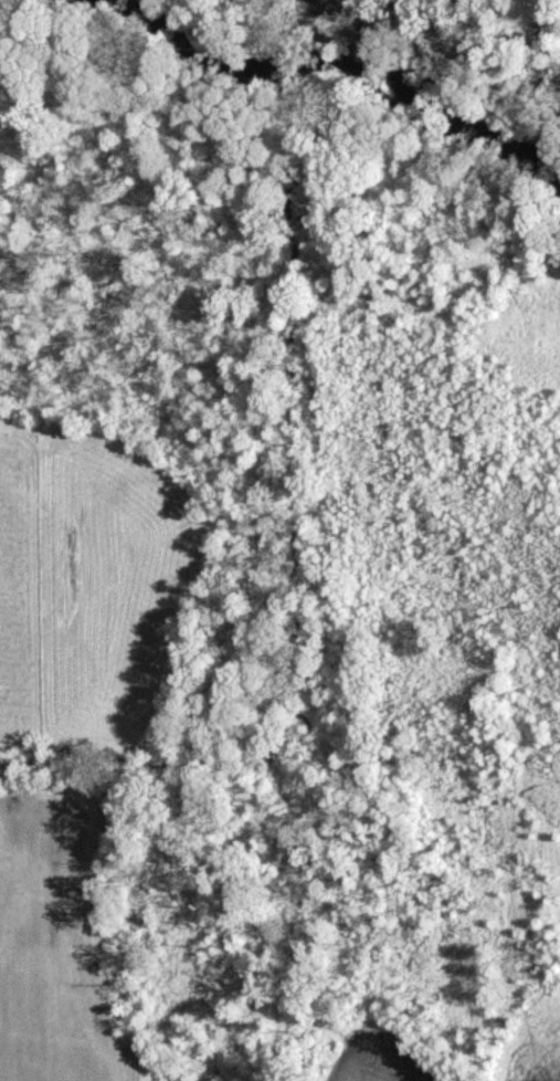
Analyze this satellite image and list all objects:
river: (302, 82)

